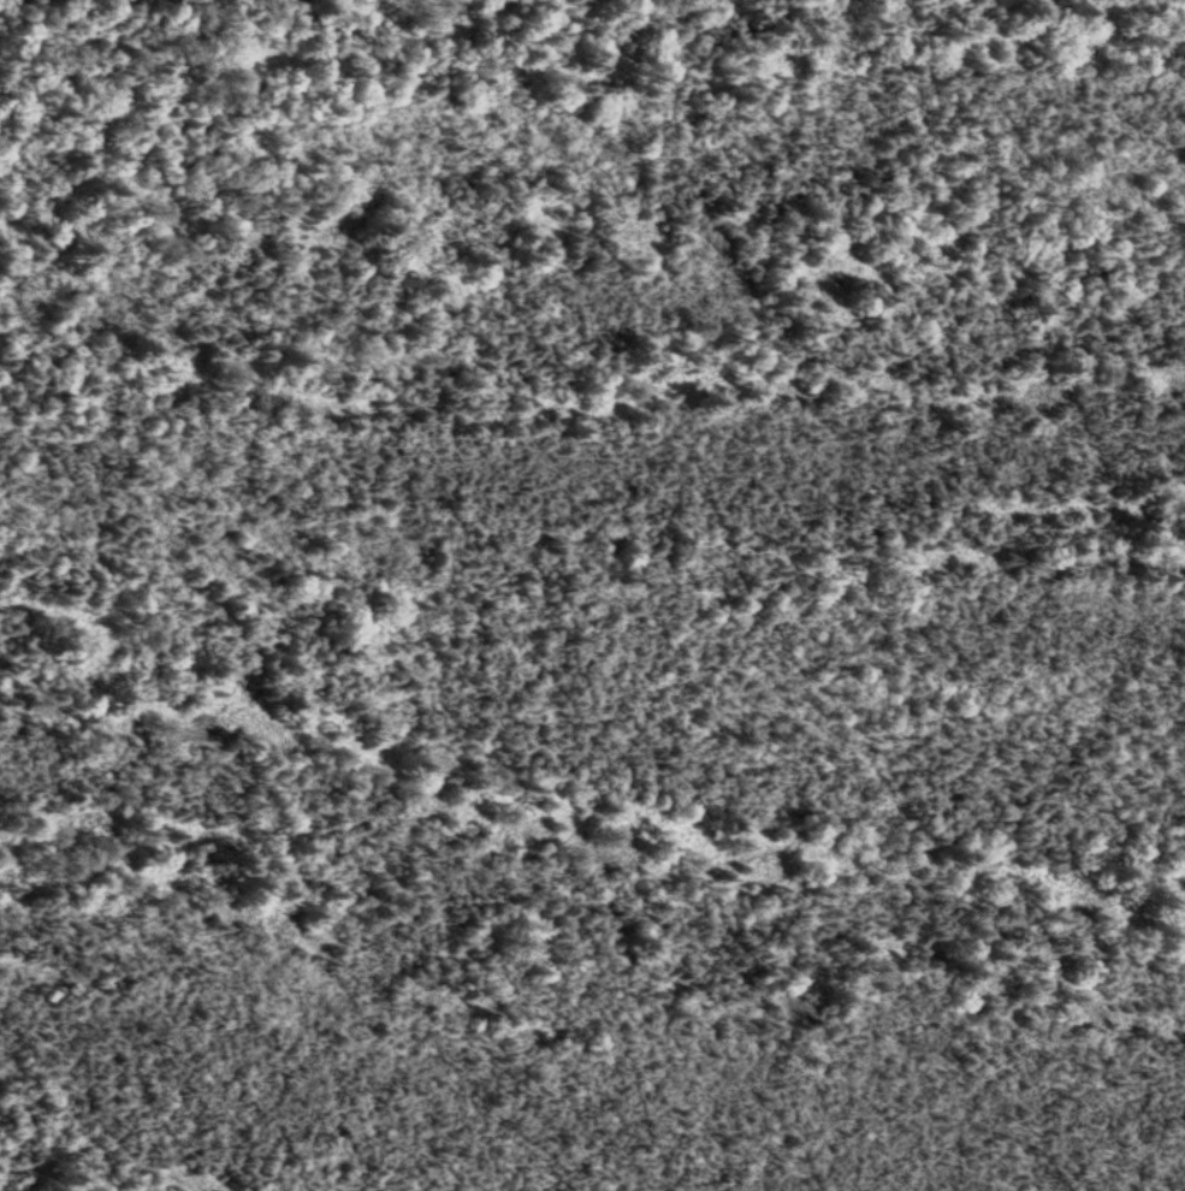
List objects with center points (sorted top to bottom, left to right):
road: (581, 849)

